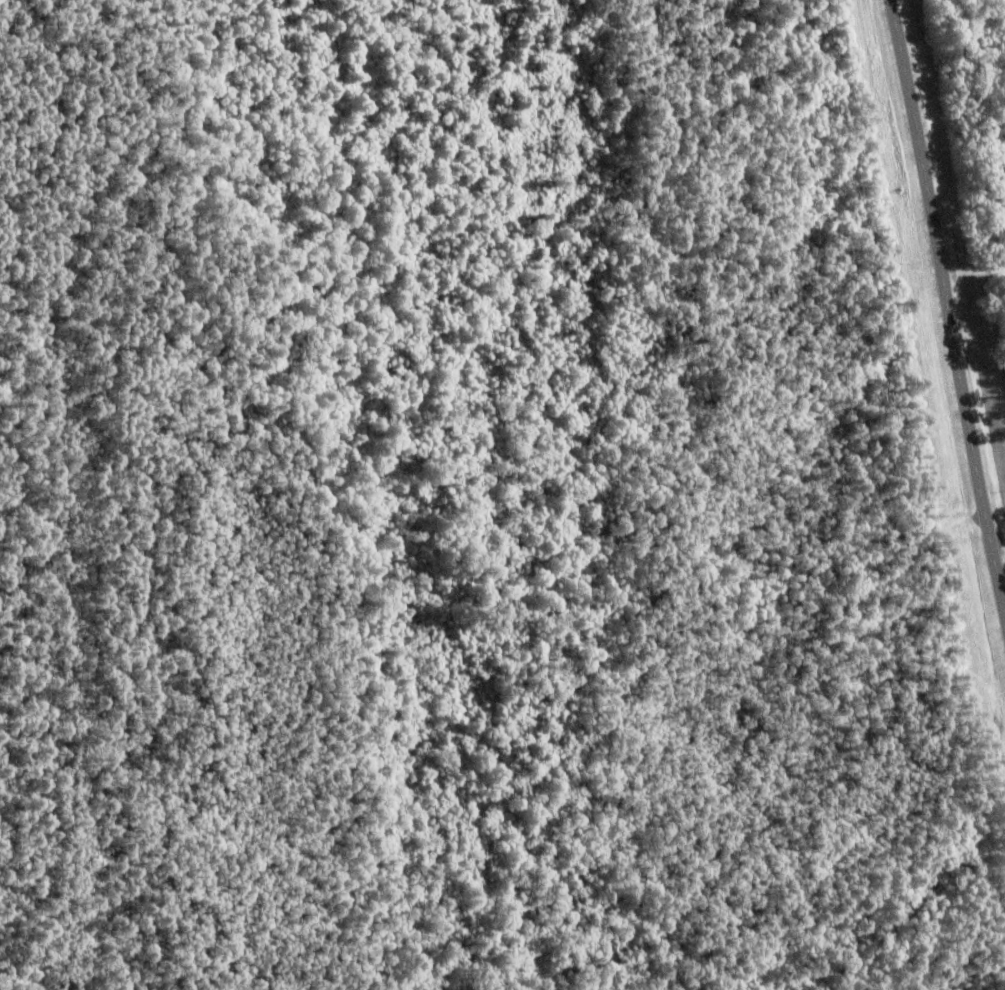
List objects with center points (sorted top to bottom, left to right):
road: (946, 296)
road: (1000, 545)

